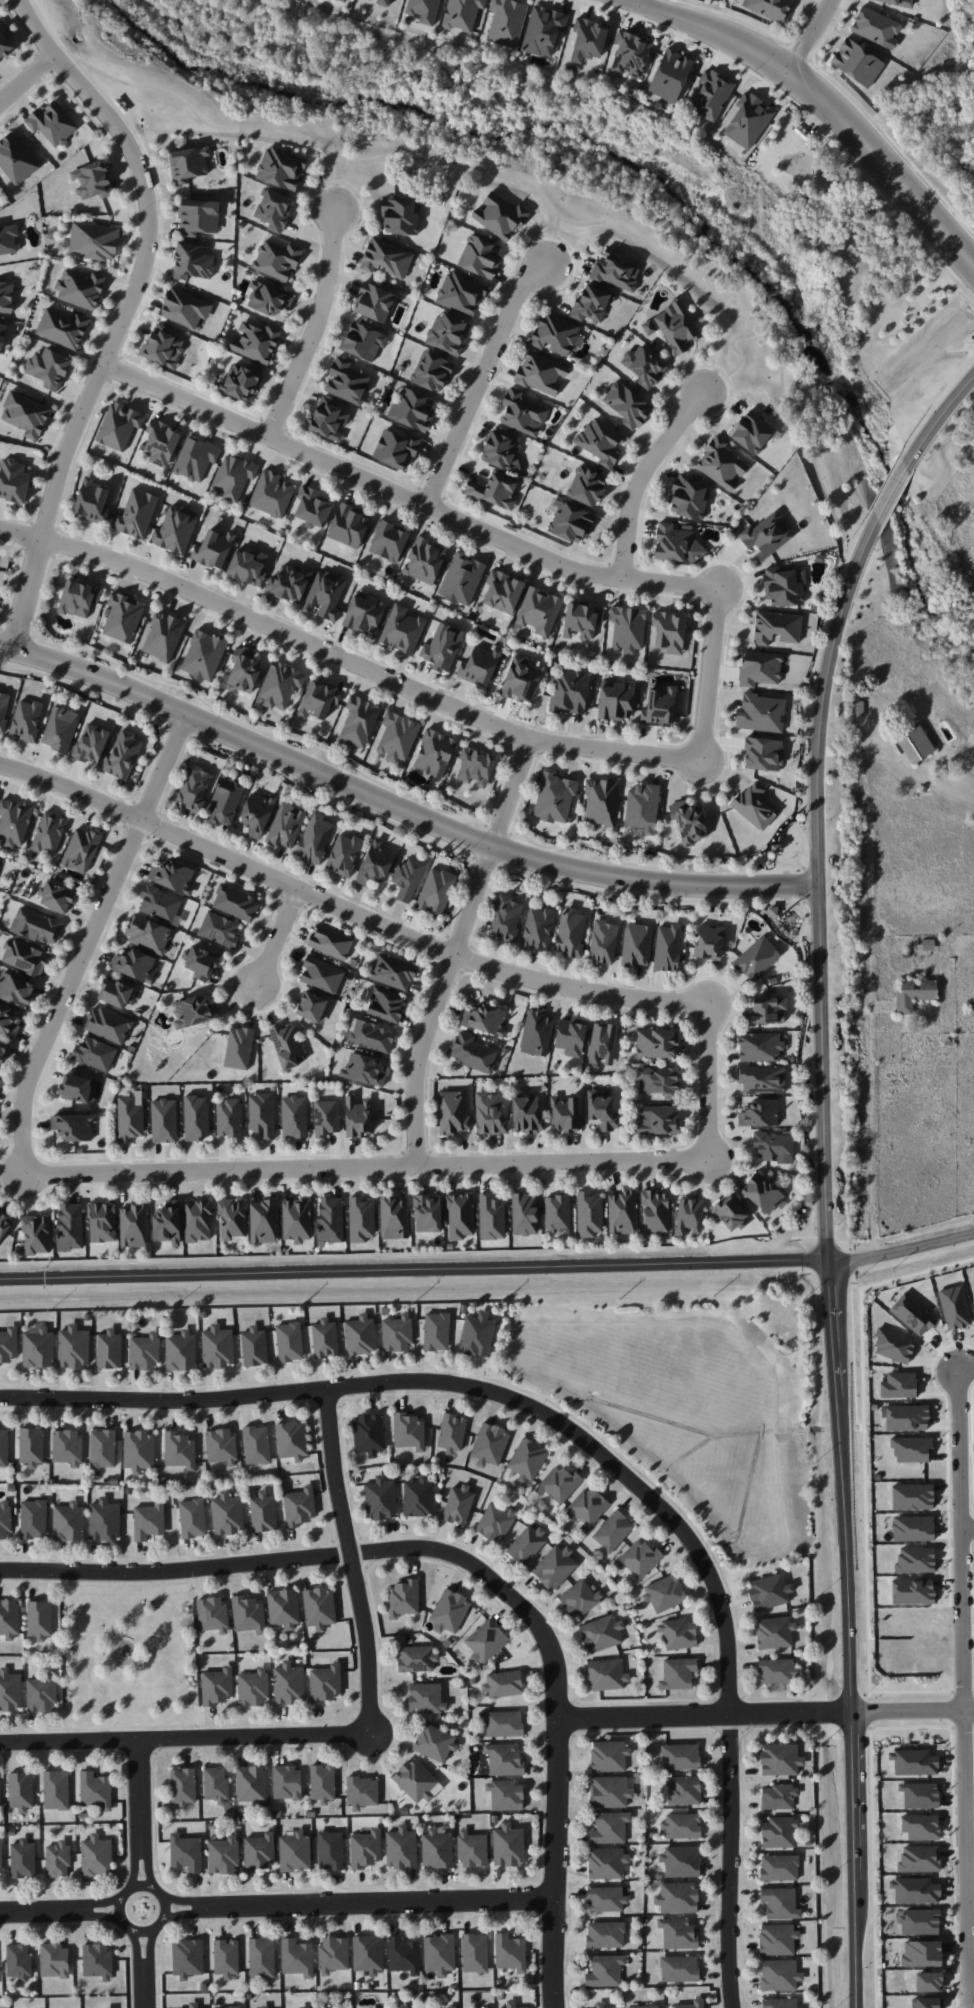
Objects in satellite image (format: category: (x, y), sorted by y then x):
building: (346, 0)
road: (636, 1)
building: (383, 2)
building: (899, 2)
building: (769, 8)
building: (424, 10)
building: (462, 14)
building: (507, 22)
building: (876, 27)
building: (544, 30)
road: (807, 32)
building: (588, 40)
building: (5, 46)
building: (630, 53)
building: (857, 62)
building: (670, 75)
road: (29, 81)
building: (711, 95)
road: (825, 97)
building: (748, 120)
building: (52, 123)
building: (16, 159)
building: (188, 164)
building: (281, 168)
building: (91, 181)
building: (274, 209)
building: (500, 215)
building: (400, 216)
building: (198, 217)
building: (9, 239)
building: (94, 240)
building: (480, 256)
building: (386, 258)
building: (277, 259)
building: (193, 261)
building: (617, 270)
building: (81, 288)
building: (461, 293)
building: (6, 296)
building: (268, 299)
building: (374, 302)
building: (591, 304)
building: (184, 307)
road: (132, 311)
road: (314, 324)
building: (676, 327)
building: (63, 328)
building: (448, 333)
building: (556, 334)
building: (2, 335)
building: (363, 341)
building: (256, 342)
building: (163, 346)
building: (643, 365)
building: (49, 368)
building: (432, 371)
building: (541, 373)
road: (480, 377)
building: (241, 381)
building: (347, 381)
building: (627, 405)
building: (413, 409)
building: (523, 413)
building: (26, 414)
building: (328, 419)
building: (119, 425)
building: (752, 431)
building: (601, 441)
building: (161, 442)
building: (397, 448)
building: (500, 449)
building: (196, 458)
building: (721, 464)
road: (640, 473)
building: (233, 476)
building: (13, 480)
building: (587, 486)
building: (494, 491)
building: (271, 494)
building: (688, 497)
building: (92, 501)
building: (313, 507)
building: (137, 513)
building: (571, 522)
building: (349, 525)
building: (175, 529)
building: (766, 534)
building: (389, 541)
building: (673, 542)
building: (214, 548)
building: (425, 560)
street lamp: (614, 560)
building: (248, 566)
road: (661, 568)
building: (462, 579)
building: (289, 583)
building: (783, 585)
building: (503, 591)
building: (326, 593)
building: (79, 598)
street lamp: (740, 601)
building: (539, 610)
building: (365, 613)
building: (122, 616)
building: (582, 620)
building: (776, 627)
building: (628, 628)
building: (402, 629)
building: (669, 631)
building: (163, 636)
building: (443, 647)
building: (204, 655)
building: (480, 665)
building: (759, 668)
building: (244, 669)
building: (521, 679)
building: (280, 684)
building: (569, 691)
building: (319, 699)
building: (616, 700)
building: (661, 706)
building: (4, 708)
building: (761, 713)
road: (703, 714)
road: (804, 714)
building: (26, 720)
building: (359, 720)
street lamp: (533, 726)
building: (60, 728)
building: (397, 736)
building: (91, 743)
building: (915, 743)
road: (526, 748)
building: (434, 753)
road: (540, 753)
building: (764, 753)
building: (123, 754)
road: (572, 762)
road: (597, 763)
street lamp: (726, 763)
building: (475, 766)
road: (653, 768)
road: (679, 778)
building: (195, 787)
road: (70, 789)
building: (554, 797)
road: (817, 797)
building: (226, 799)
building: (601, 801)
building: (753, 806)
building: (642, 807)
road: (398, 810)
building: (257, 814)
street lamp: (830, 818)
building: (14, 822)
building: (687, 822)
building: (286, 825)
road: (498, 828)
building: (633, 830)
building: (49, 832)
building: (315, 837)
road: (479, 841)
road: (504, 849)
building: (81, 850)
street lamp: (467, 851)
building: (344, 854)
road: (487, 862)
building: (375, 863)
road: (650, 865)
road: (501, 868)
building: (173, 876)
building: (407, 878)
road: (805, 884)
building: (436, 890)
building: (56, 897)
building: (236, 902)
building: (159, 903)
road: (801, 904)
road: (804, 914)
building: (506, 918)
building: (36, 926)
building: (538, 928)
building: (220, 929)
road: (78, 932)
building: (571, 932)
building: (148, 933)
road: (415, 937)
road: (277, 938)
road: (85, 940)
building: (330, 941)
building: (603, 941)
building: (709, 942)
building: (636, 945)
road: (455, 946)
building: (668, 947)
street lamp: (834, 947)
building: (24, 957)
building: (757, 958)
building: (201, 963)
building: (134, 964)
building: (393, 971)
building: (322, 974)
road: (870, 984)
building: (15, 989)
building: (116, 992)
building: (914, 993)
street lamp: (731, 995)
building: (386, 1004)
building: (312, 1006)
building: (768, 1010)
building: (194, 1011)
building: (485, 1019)
building: (7, 1020)
building: (107, 1024)
building: (537, 1033)
building: (370, 1035)
building: (571, 1036)
building: (602, 1043)
building: (656, 1043)
building: (287, 1046)
building: (760, 1046)
building: (239, 1047)
building: (3, 1050)
building: (472, 1052)
building: (95, 1053)
building: (364, 1070)
road: (708, 1078)
building: (762, 1079)
building: (659, 1081)
street lamp: (836, 1084)
building: (79, 1088)
building: (454, 1111)
building: (602, 1111)
building: (489, 1113)
building: (759, 1113)
building: (262, 1114)
building: (527, 1114)
building: (564, 1114)
building: (130, 1117)
building: (196, 1117)
building: (294, 1117)
building: (326, 1117)
building: (358, 1117)
building: (229, 1118)
building: (658, 1119)
building: (164, 1120)
building: (74, 1126)
building: (773, 1146)
road: (364, 1164)
road: (635, 1172)
building: (762, 1193)
building: (655, 1211)
building: (557, 1212)
building: (622, 1212)
building: (428, 1213)
building: (731, 1213)
building: (524, 1214)
building: (589, 1214)
building: (688, 1215)
building: (460, 1216)
building: (394, 1217)
building: (491, 1217)
building: (232, 1218)
building: (297, 1219)
building: (330, 1219)
building: (361, 1219)
building: (198, 1220)
building: (264, 1221)
building: (102, 1222)
building: (168, 1222)
street lamp: (839, 1223)
building: (4, 1224)
building: (134, 1225)
building: (70, 1226)
building: (36, 1234)
road: (902, 1250)
road: (414, 1268)
building: (913, 1314)
building: (436, 1331)
building: (397, 1333)
building: (477, 1334)
building: (361, 1335)
building: (325, 1338)
building: (289, 1341)
building: (8, 1344)
building: (254, 1346)
building: (37, 1347)
building: (73, 1347)
building: (218, 1347)
building: (109, 1349)
building: (181, 1351)
building: (144, 1352)
building: (409, 1431)
building: (452, 1431)
building: (368, 1434)
building: (292, 1440)
building: (257, 1444)
building: (490, 1444)
building: (66, 1445)
building: (220, 1445)
building: (31, 1446)
building: (4, 1447)
building: (103, 1448)
building: (139, 1450)
building: (179, 1450)
road: (590, 1450)
building: (912, 1450)
building: (527, 1459)
building: (558, 1484)
road: (841, 1485)
building: (418, 1497)
building: (380, 1498)
building: (458, 1504)
building: (299, 1506)
building: (588, 1506)
building: (263, 1512)
building: (227, 1514)
building: (192, 1518)
building: (33, 1519)
building: (5, 1520)
building: (104, 1520)
building: (149, 1521)
building: (69, 1522)
building: (494, 1522)
road: (969, 1529)
building: (613, 1531)
building: (527, 1544)
building: (639, 1558)
building: (915, 1559)
road: (350, 1563)
road: (471, 1565)
building: (555, 1567)
building: (769, 1591)
building: (664, 1593)
building: (404, 1598)
building: (579, 1598)
building: (319, 1607)
building: (283, 1608)
building: (450, 1611)
building: (212, 1613)
building: (248, 1614)
building: (9, 1618)
building: (39, 1619)
building: (774, 1632)
building: (602, 1633)
building: (678, 1633)
building: (486, 1641)
building: (417, 1658)
road: (964, 1666)
building: (776, 1671)
building: (678, 1673)
building: (606, 1674)
building: (289, 1683)
building: (325, 1683)
building: (503, 1683)
building: (217, 1686)
building: (253, 1687)
building: (10, 1690)
building: (41, 1695)
building: (426, 1698)
road: (913, 1711)
road: (702, 1714)
building: (504, 1723)
road: (185, 1736)
building: (435, 1743)
building: (609, 1755)
building: (680, 1756)
building: (504, 1759)
building: (780, 1759)
building: (416, 1780)
building: (287, 1782)
building: (251, 1783)
building: (322, 1783)
building: (183, 1785)
building: (216, 1785)
building: (21, 1790)
building: (56, 1790)
building: (95, 1790)
building: (683, 1790)
building: (609, 1791)
building: (362, 1792)
building: (507, 1795)
building: (778, 1796)
road: (139, 1811)
building: (681, 1825)
building: (920, 1826)
building: (610, 1827)
building: (779, 1832)
building: (508, 1845)
building: (366, 1848)
building: (401, 1848)
building: (437, 1849)
building: (472, 1849)
building: (330, 1850)
building: (259, 1851)
building: (186, 1852)
building: (295, 1852)
building: (97, 1855)
building: (224, 1855)
building: (1, 1856)
building: (23, 1858)
building: (58, 1859)
building: (919, 1859)
road: (853, 1860)
building: (681, 1861)
building: (607, 1863)
building: (779, 1867)
building: (915, 1890)
building: (677, 1897)
building: (606, 1898)
building: (780, 1903)
road: (359, 1905)
road: (57, 1911)
building: (919, 1922)
road: (158, 1926)
building: (678, 1933)
building: (605, 1934)
building: (777, 1939)
building: (510, 1952)
building: (439, 1953)
building: (475, 1953)
building: (922, 1953)
building: (333, 1954)
building: (368, 1954)
building: (403, 1955)
building: (226, 1957)
building: (262, 1957)
building: (297, 1957)
building: (187, 1958)
building: (54, 1960)
building: (97, 1960)
building: (18, 1961)
building: (679, 1968)
building: (605, 1970)
road: (144, 1971)
building: (779, 1975)
road: (972, 1975)
building: (928, 1981)
road: (970, 1992)
building: (779, 2003)
building: (193, 2004)
building: (511, 2004)
building: (691, 2004)
building: (264, 2006)
building: (403, 2006)
building: (596, 2006)
building: (643, 2006)
building: (109, 2007)
building: (206, 2007)
building: (228, 2007)
building: (327, 2007)
building: (374, 2007)
building: (451, 2007)
building: (486, 2007)
building: (616, 2007)

